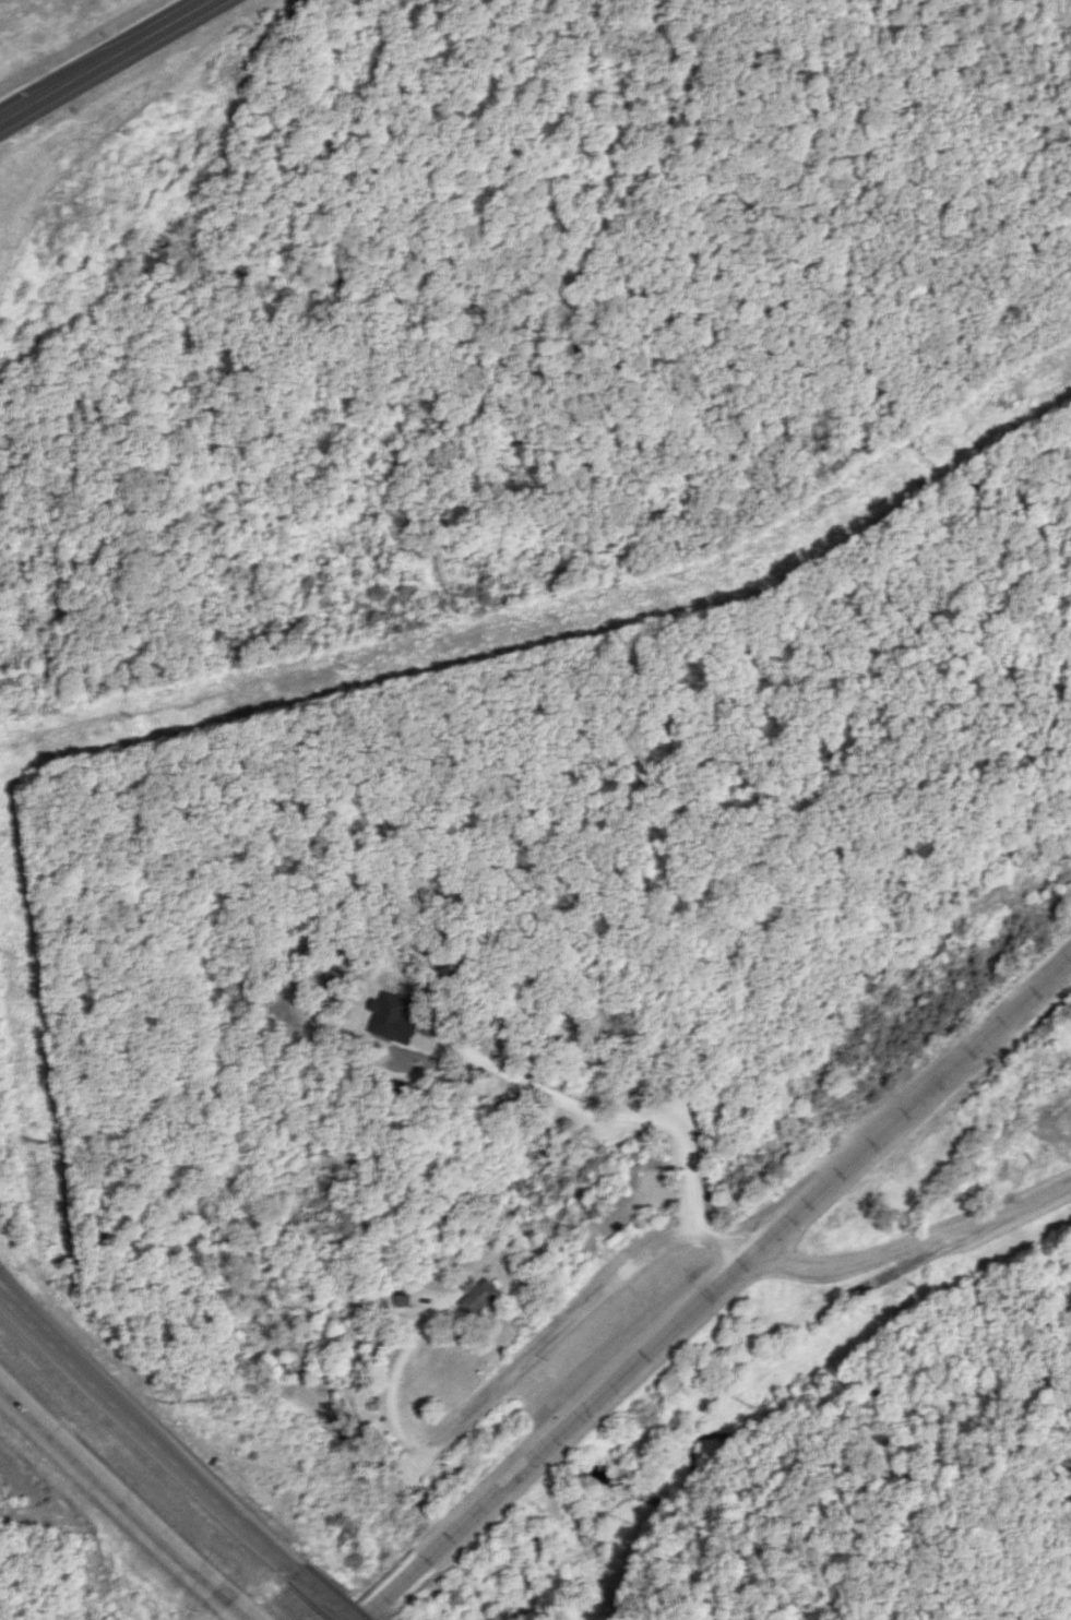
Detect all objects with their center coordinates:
road: (108, 64)
building: (391, 1016)
road: (919, 1246)
road: (715, 1289)
building: (477, 1294)
building: (403, 1298)
road: (578, 1314)
road: (398, 1354)
road: (133, 1426)
road: (112, 1498)
road: (307, 1587)
road: (236, 1610)

